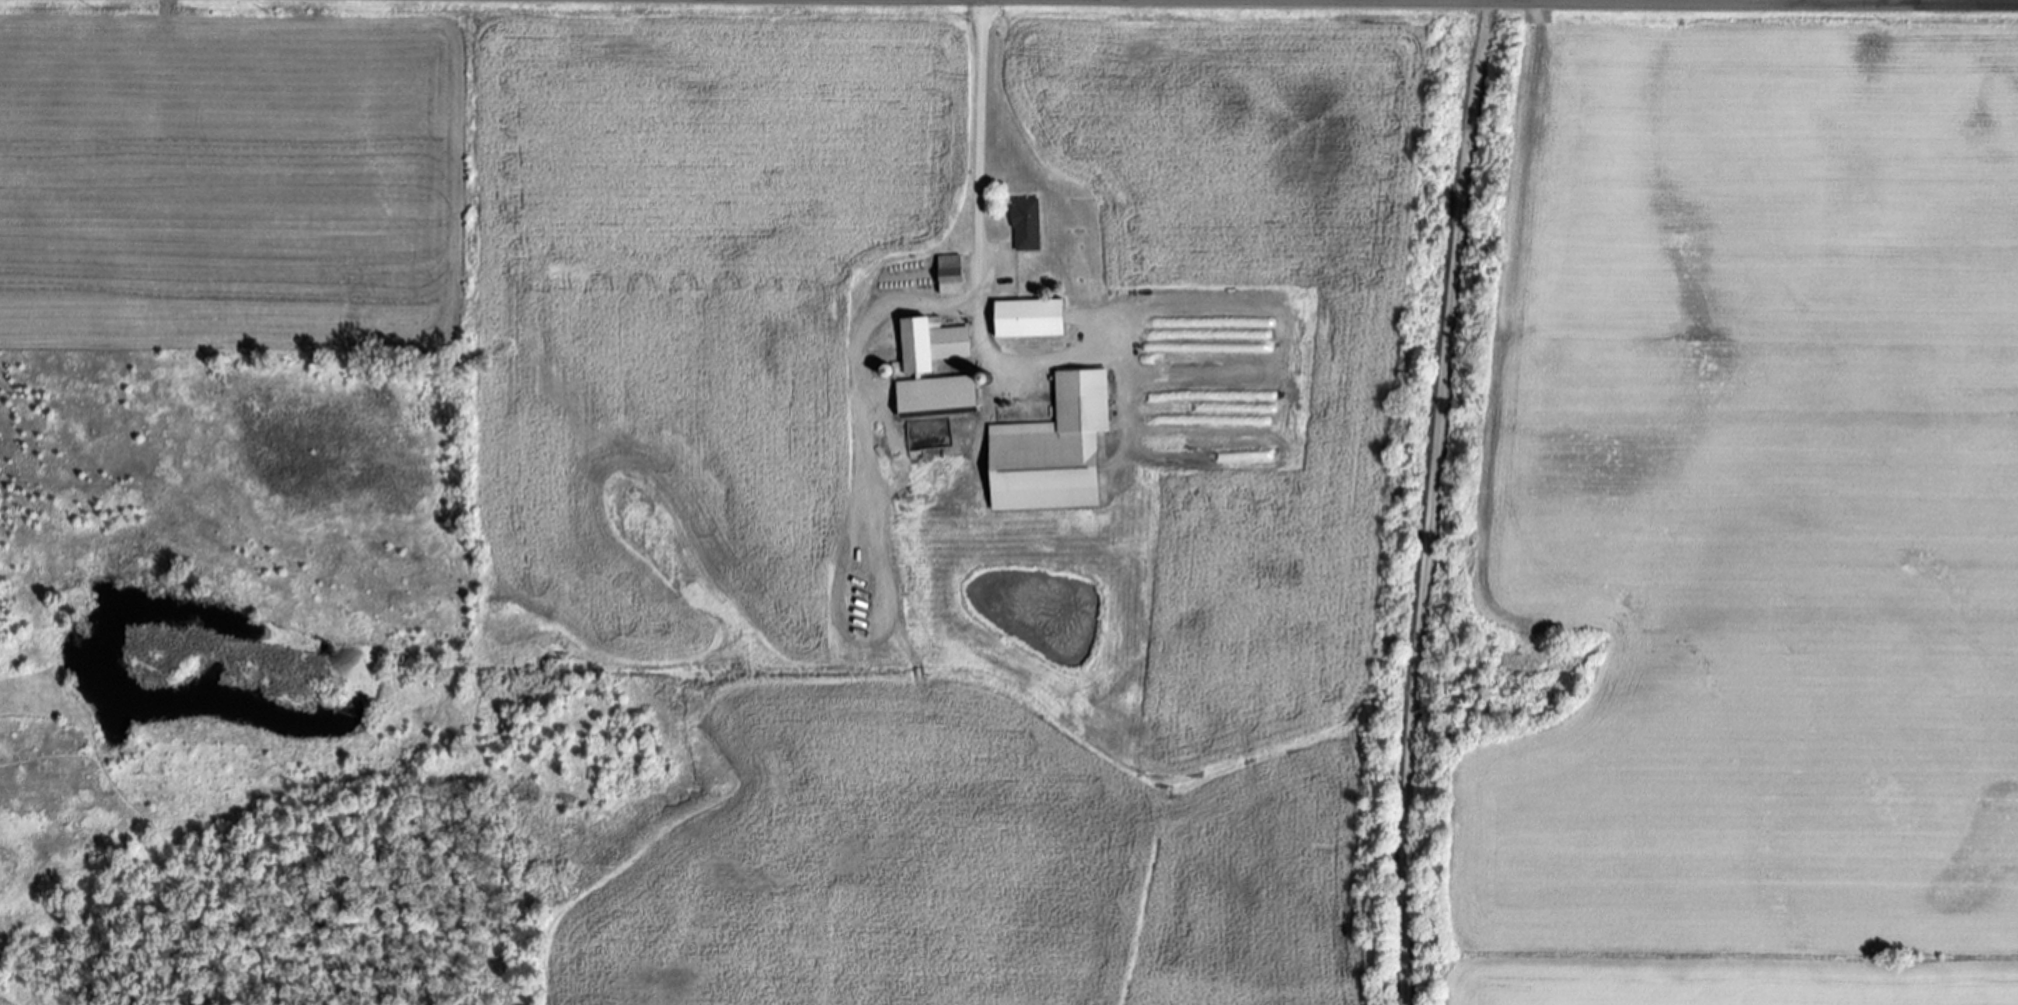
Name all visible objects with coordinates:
road: (1747, 0)
road: (1910, 0)
building: (1030, 224)
road: (974, 245)
building: (953, 274)
building: (1033, 318)
building: (936, 344)
building: (942, 394)
building: (1059, 449)
road: (1429, 501)

